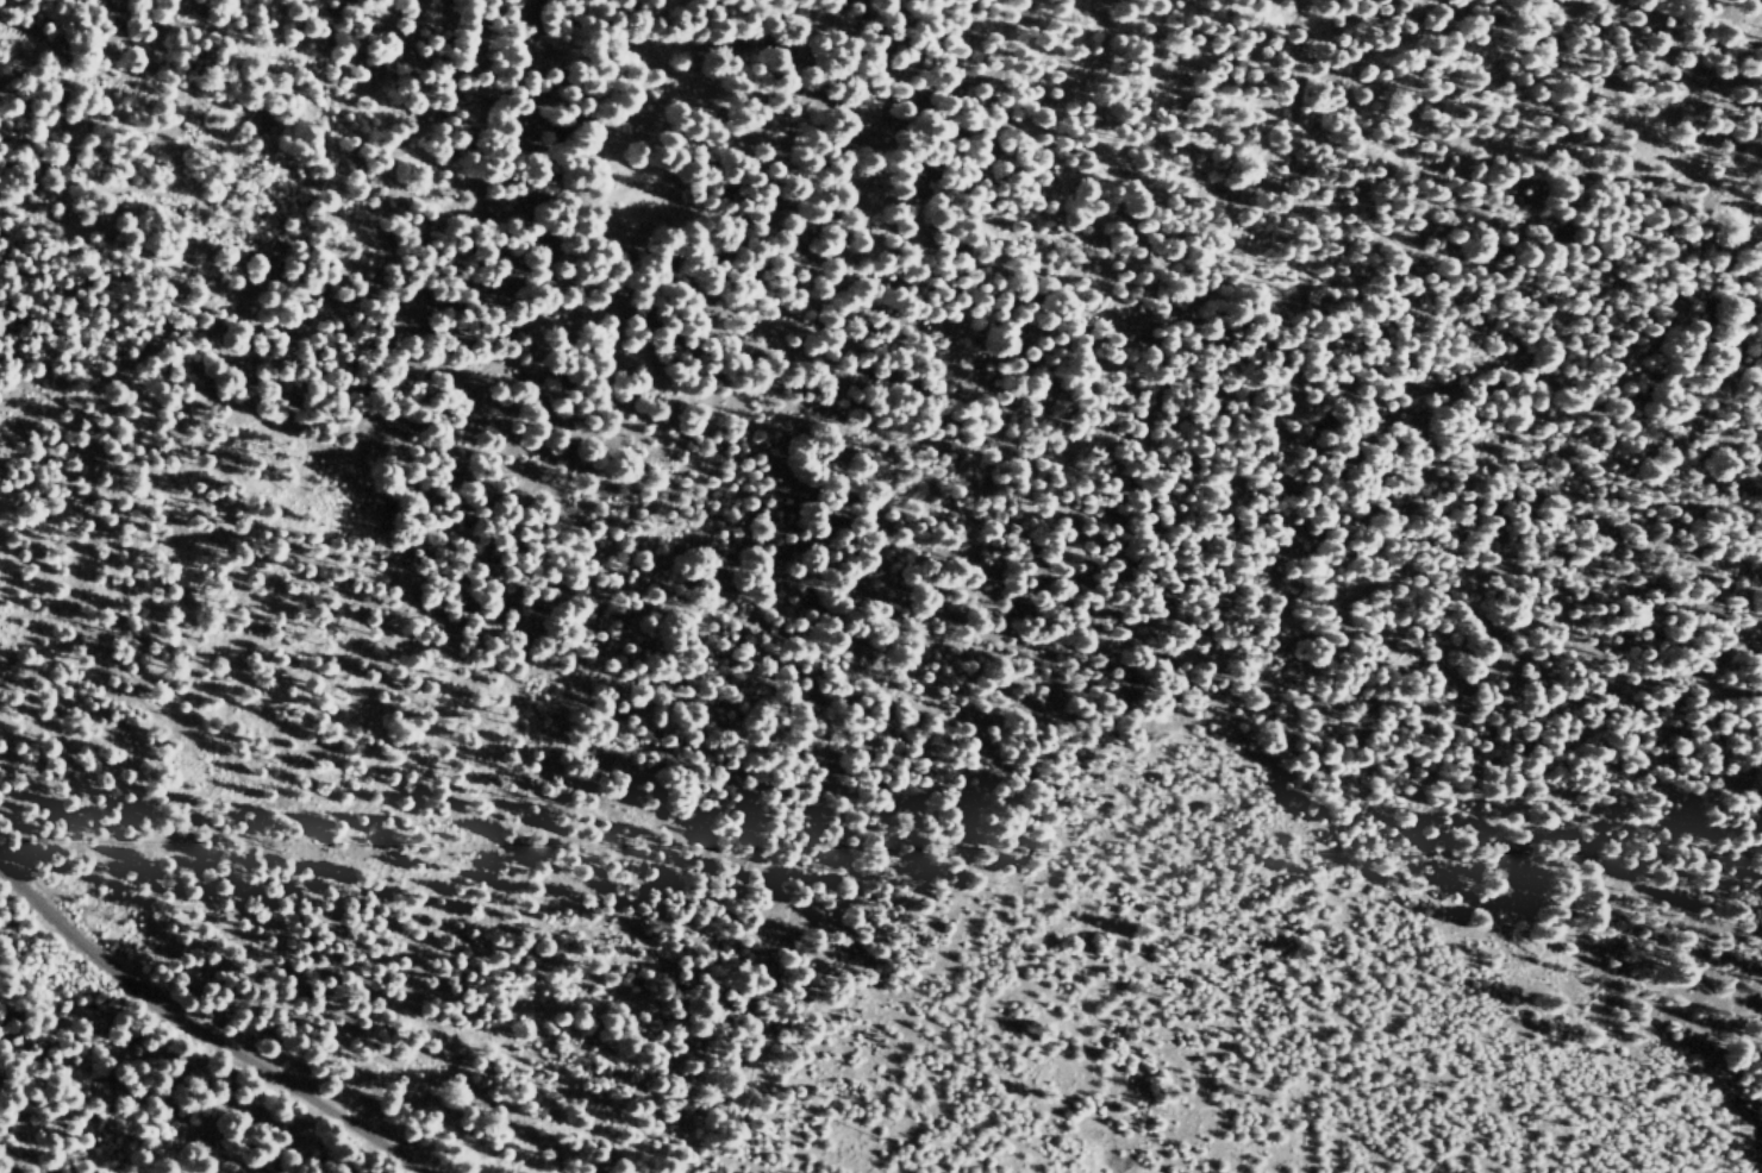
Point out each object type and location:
road: (248, 1008)

